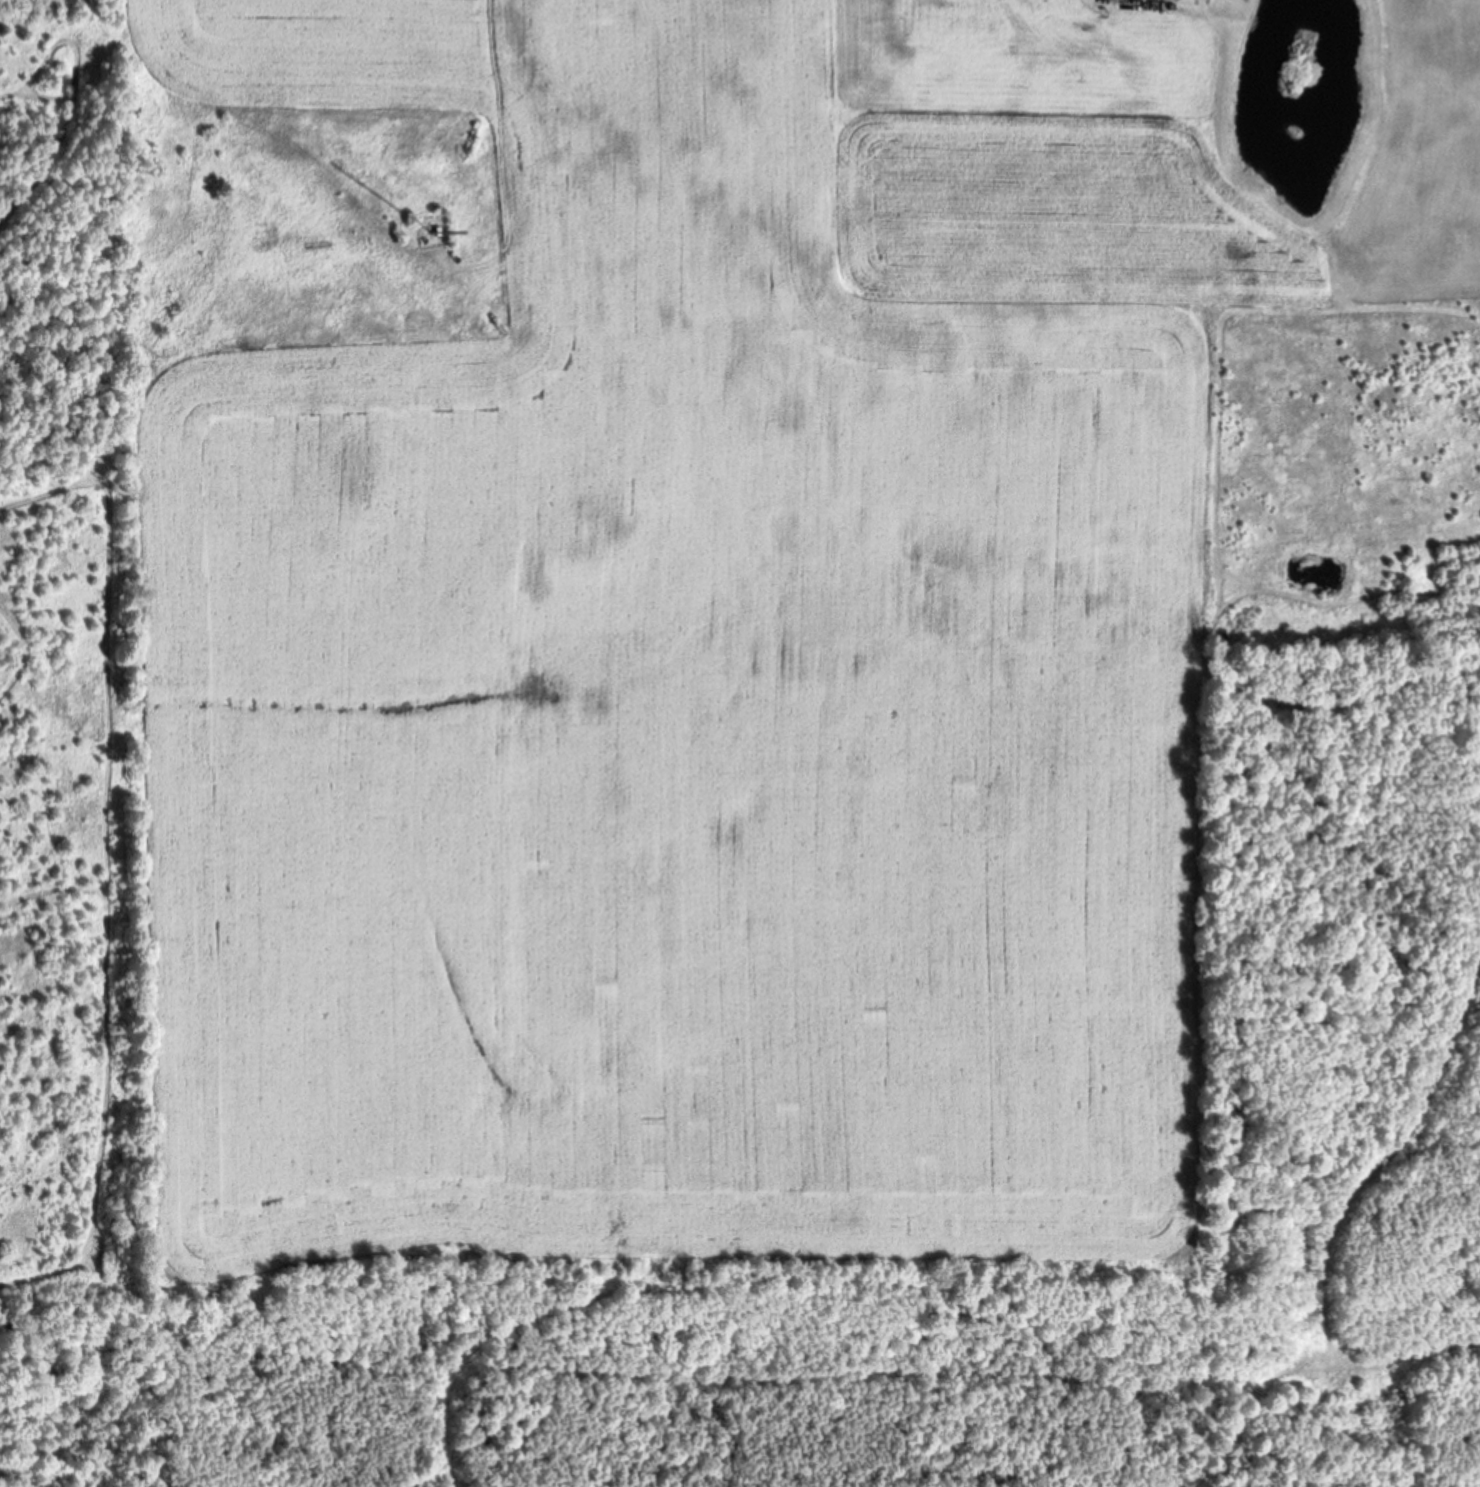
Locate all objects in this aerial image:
building: (1171, 0)
crop: (654, 652)

